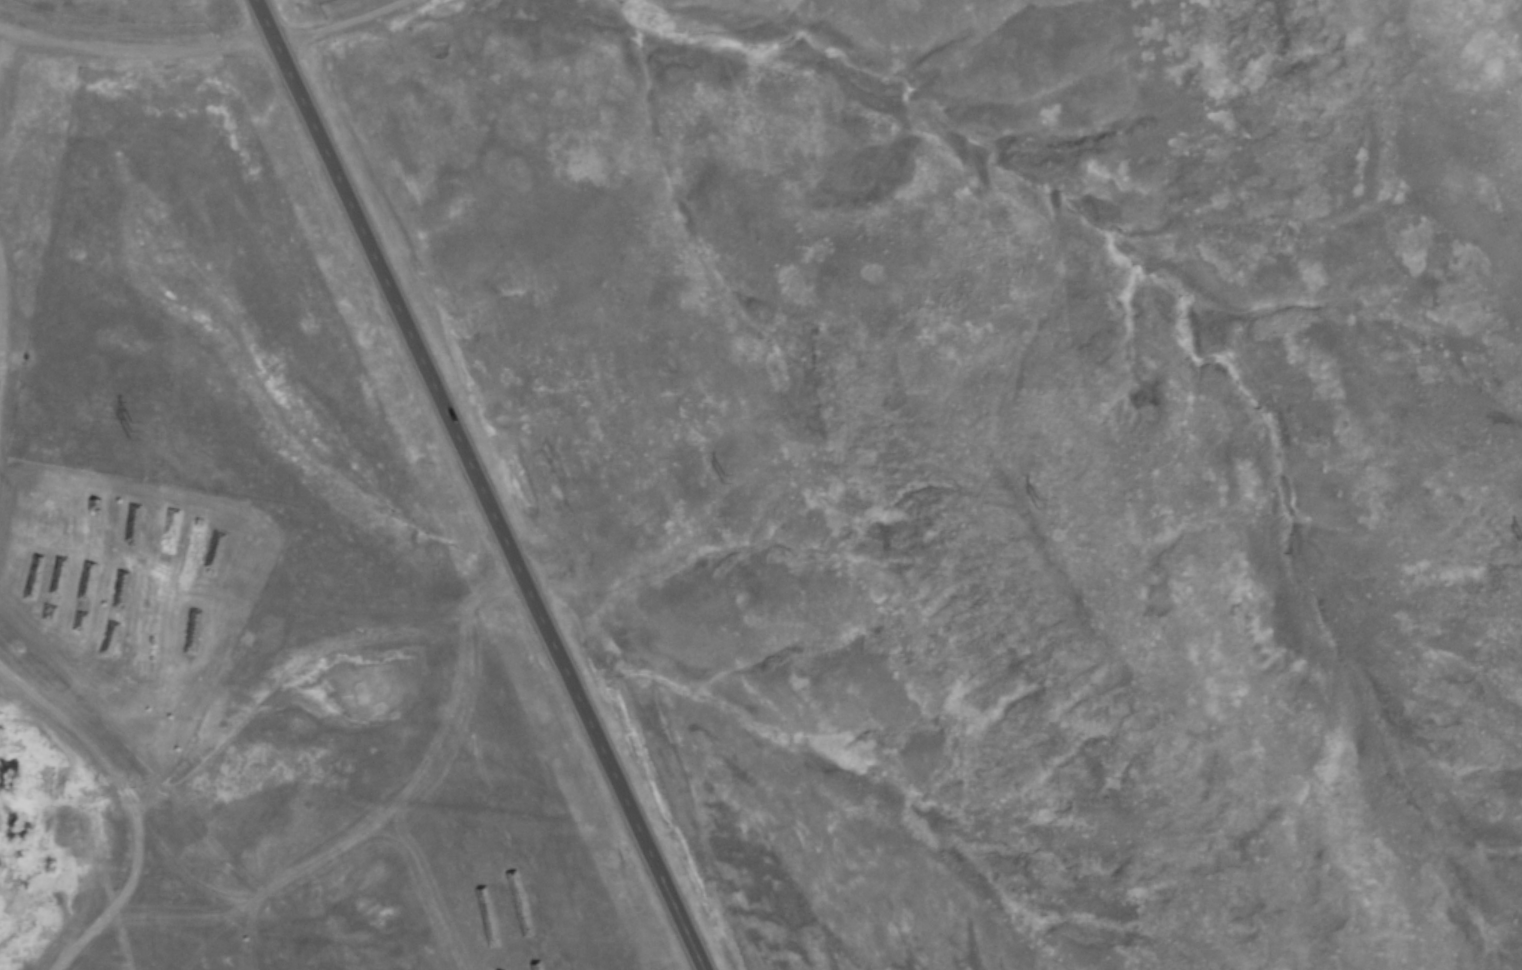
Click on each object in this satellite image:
road: (259, 26)
road: (210, 61)
power tower: (132, 432)
power tower: (723, 480)
power tower: (1037, 504)
road: (485, 511)
power tower: (1520, 543)

